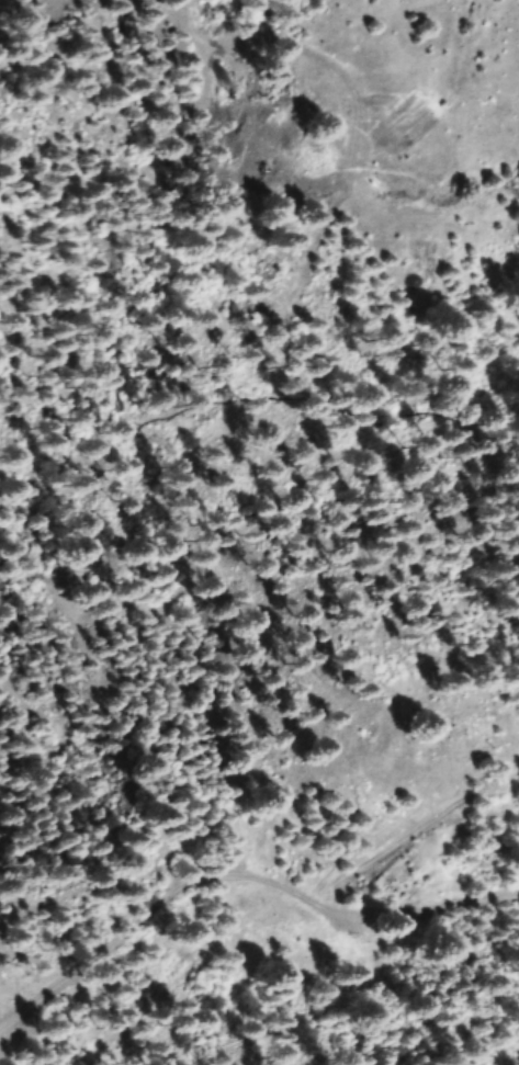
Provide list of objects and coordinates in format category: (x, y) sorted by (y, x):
road: (242, 895)

